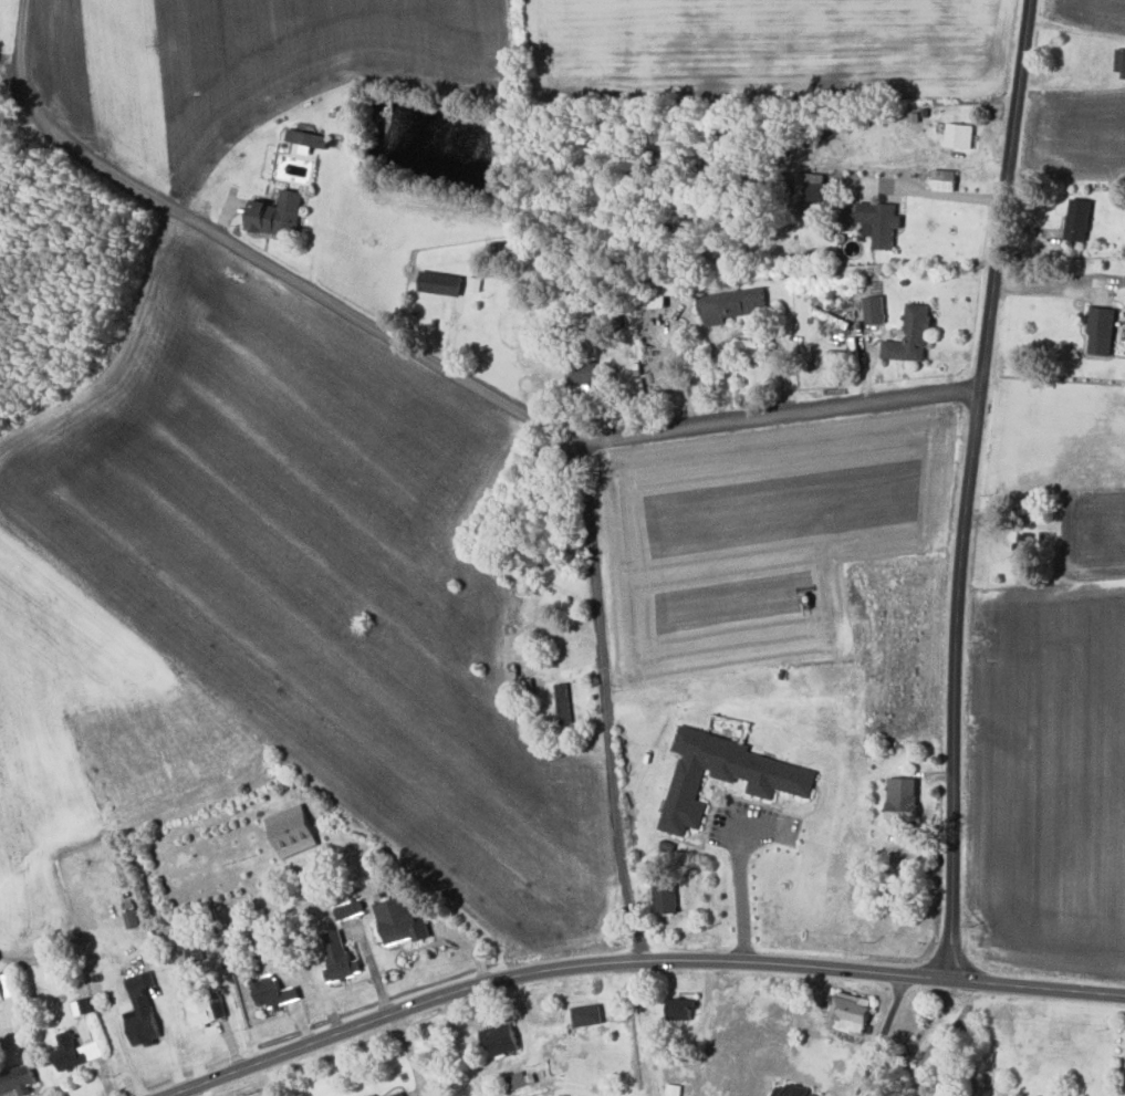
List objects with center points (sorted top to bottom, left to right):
building: (959, 134)
building: (305, 139)
building: (944, 179)
building: (815, 190)
road: (939, 192)
building: (277, 213)
building: (1077, 219)
building: (878, 221)
road: (1059, 275)
building: (439, 282)
building: (660, 292)
building: (729, 304)
building: (874, 309)
building: (1101, 330)
building: (910, 335)
road: (424, 354)
building: (584, 373)
road: (968, 489)
building: (1023, 545)
road: (605, 675)
building: (723, 775)
building: (291, 831)
road: (739, 876)
building: (664, 898)
building: (347, 909)
building: (400, 921)
building: (337, 958)
road: (640, 965)
building: (271, 992)
building: (9, 1000)
road: (966, 1004)
building: (202, 1008)
building: (679, 1009)
building: (139, 1011)
building: (851, 1012)
building: (586, 1015)
road: (881, 1036)
building: (499, 1038)
road: (927, 1051)
building: (72, 1052)
road: (972, 1058)
building: (14, 1079)
building: (673, 1089)
road: (1123, 1089)
building: (791, 1090)
building: (396, 1094)
building: (372, 1095)

